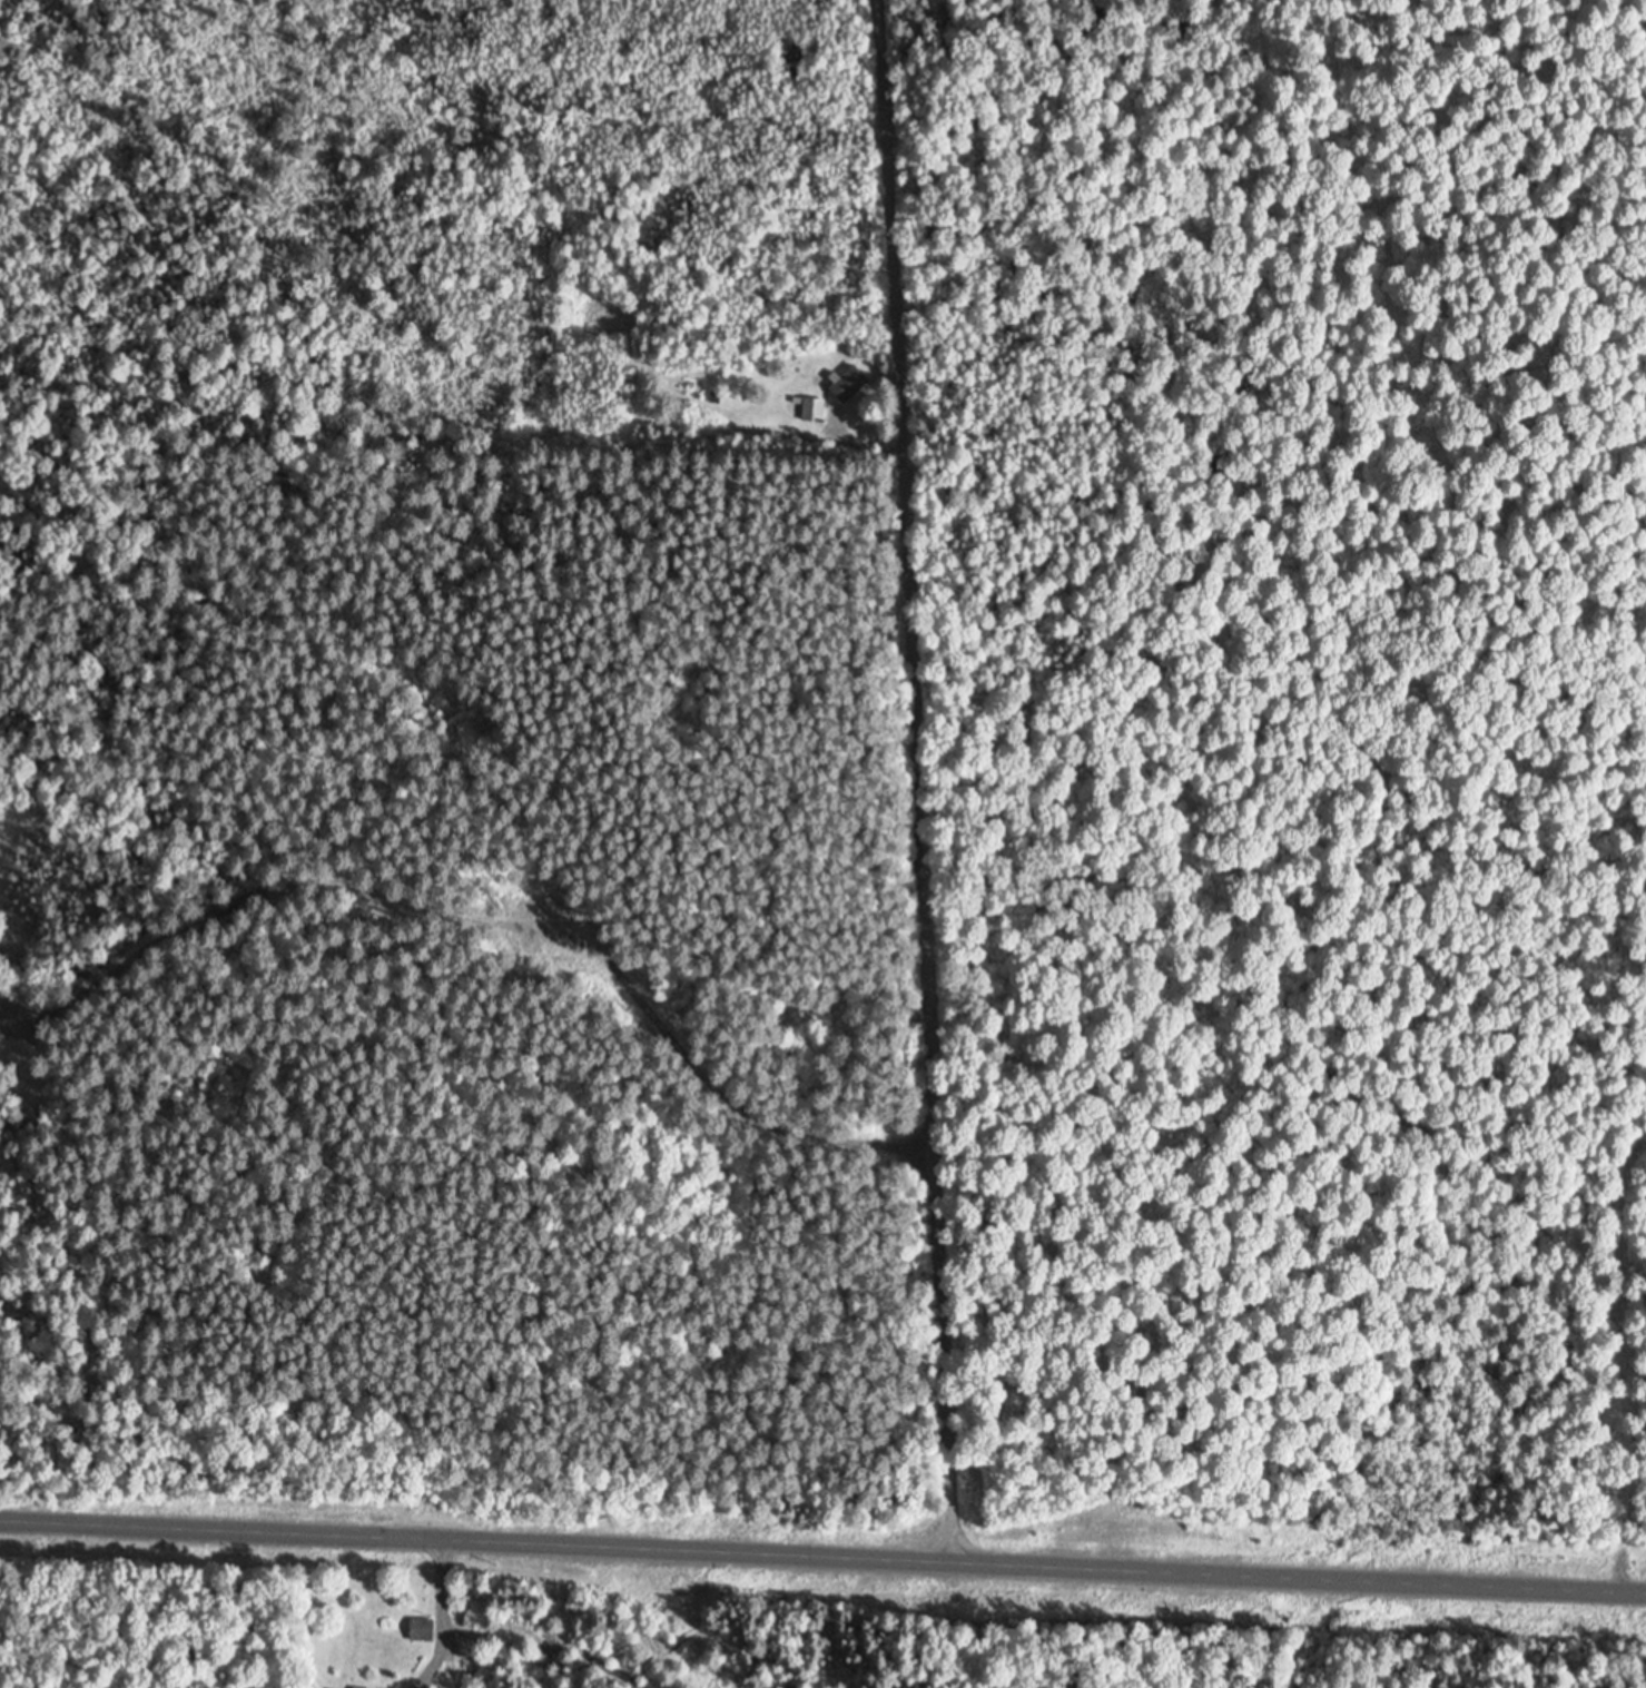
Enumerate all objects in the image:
building: (847, 382)
building: (814, 407)
road: (860, 450)
road: (913, 780)
road: (739, 1110)
road: (822, 1556)
road: (443, 1618)
building: (422, 1628)
building: (363, 1687)

